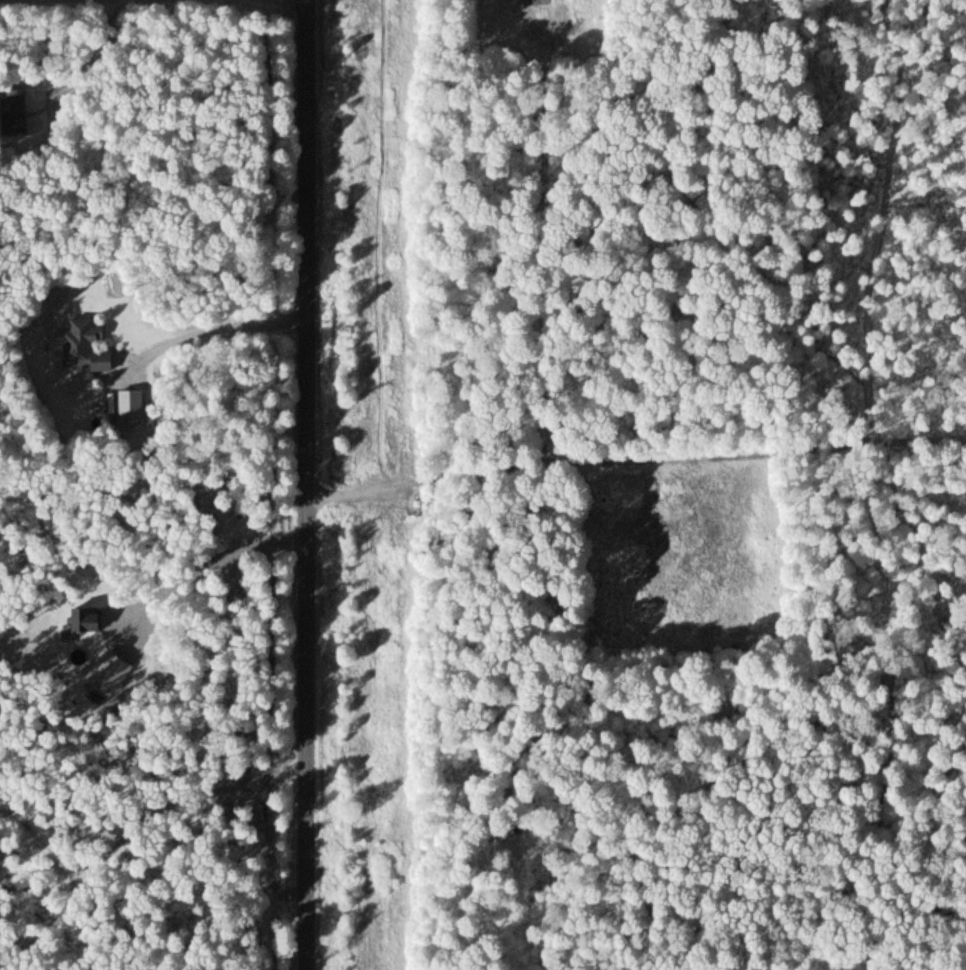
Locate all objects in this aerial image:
building: (12, 113)
building: (80, 344)
road: (634, 455)
road: (308, 485)
building: (83, 618)

